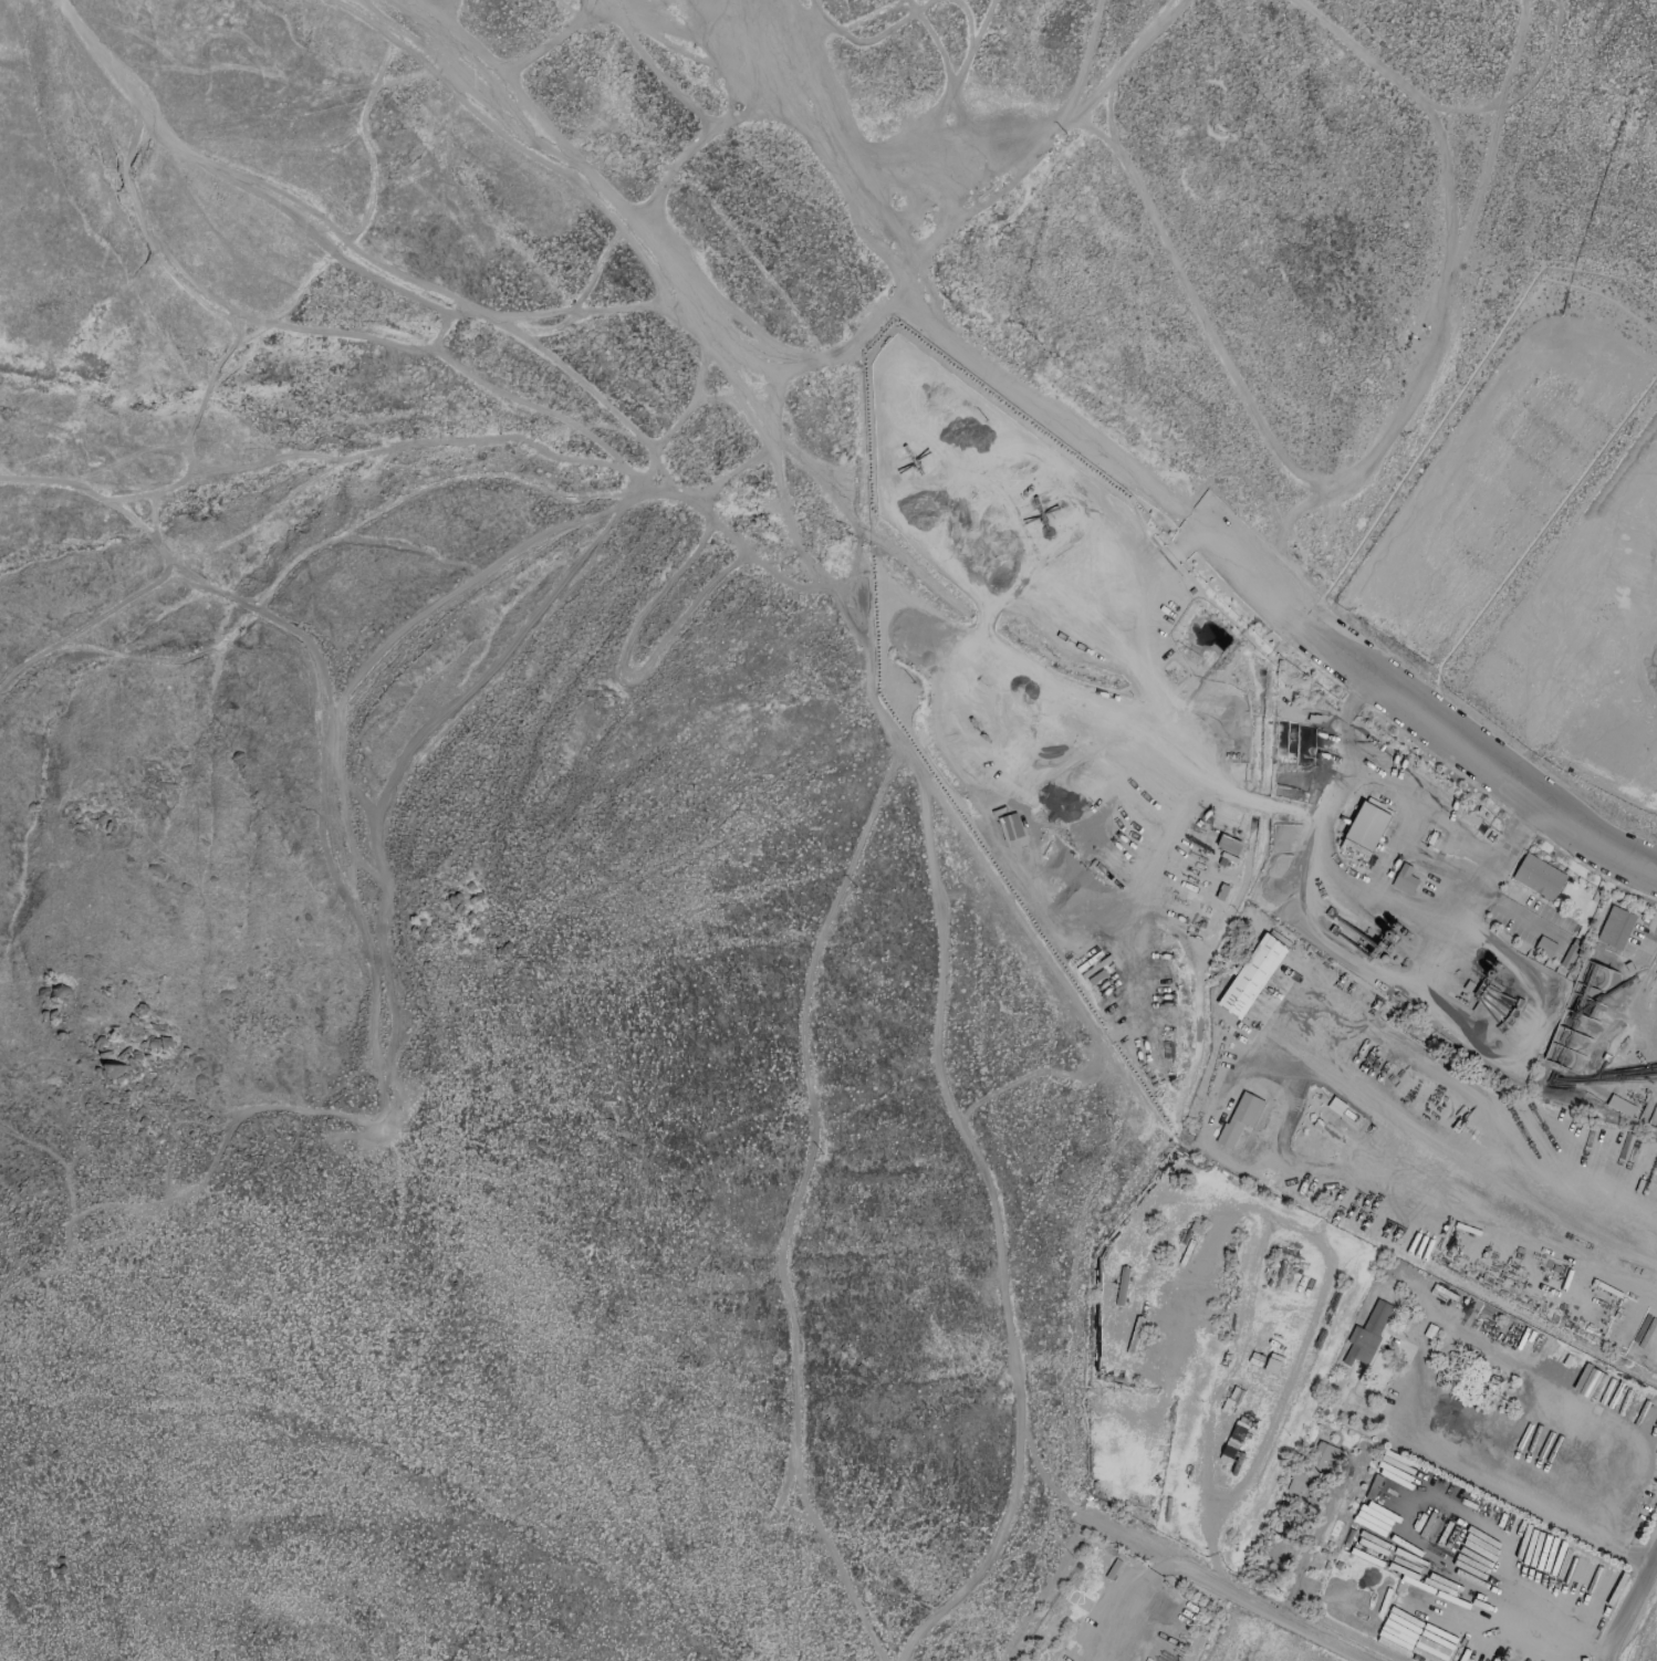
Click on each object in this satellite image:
road: (624, 248)
road: (955, 347)
road: (337, 713)
road: (1478, 752)
building: (1365, 827)
road: (1460, 837)
building: (1228, 844)
quarry: (1286, 853)
road: (1425, 864)
building: (1538, 876)
building: (1404, 878)
building: (1615, 927)
road: (1335, 944)
building: (1251, 973)
road: (939, 1035)
building: (1619, 1105)
building: (1239, 1117)
road: (108, 1203)
building: (1366, 1333)
building: (1316, 1464)
road: (1499, 1486)
road: (1634, 1555)
road: (1008, 1571)
road: (1044, 1590)
road: (1237, 1590)
road: (1624, 1596)
road: (1551, 1632)

